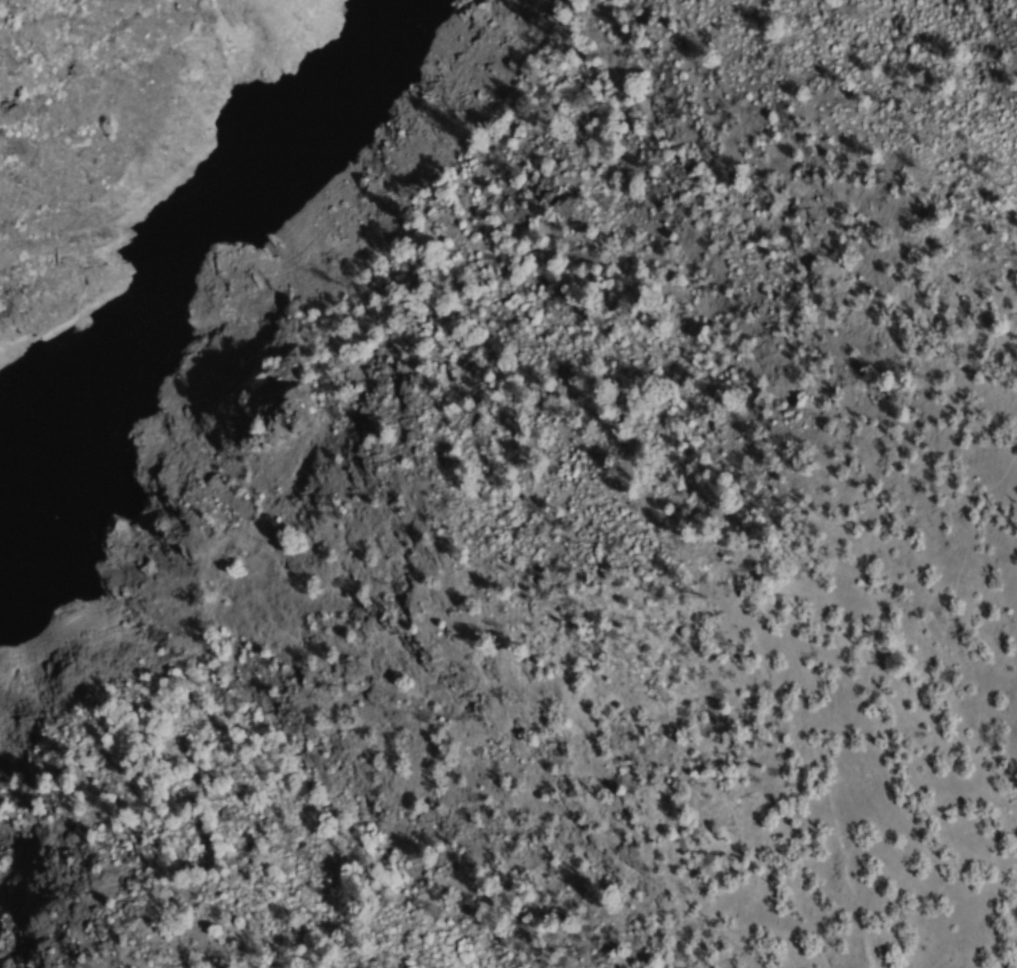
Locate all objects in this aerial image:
river: (204, 255)

